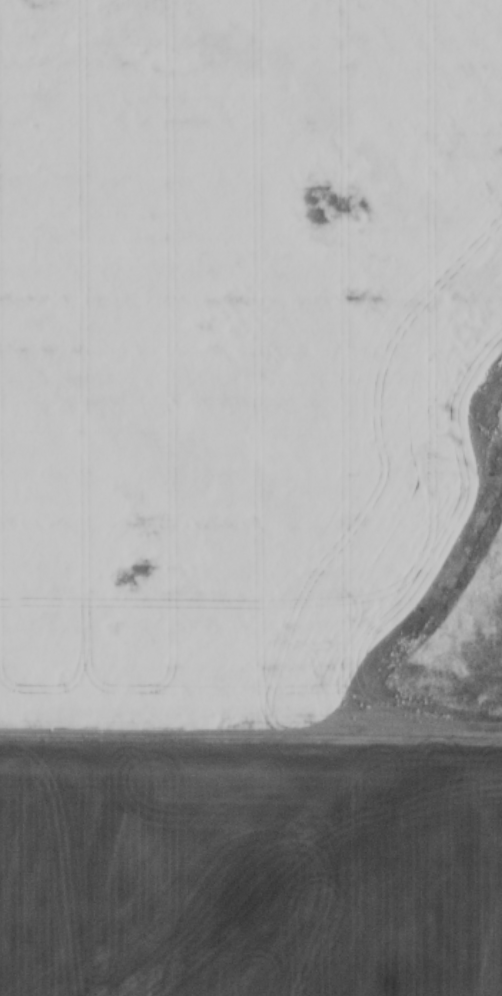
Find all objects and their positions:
road: (251, 721)

